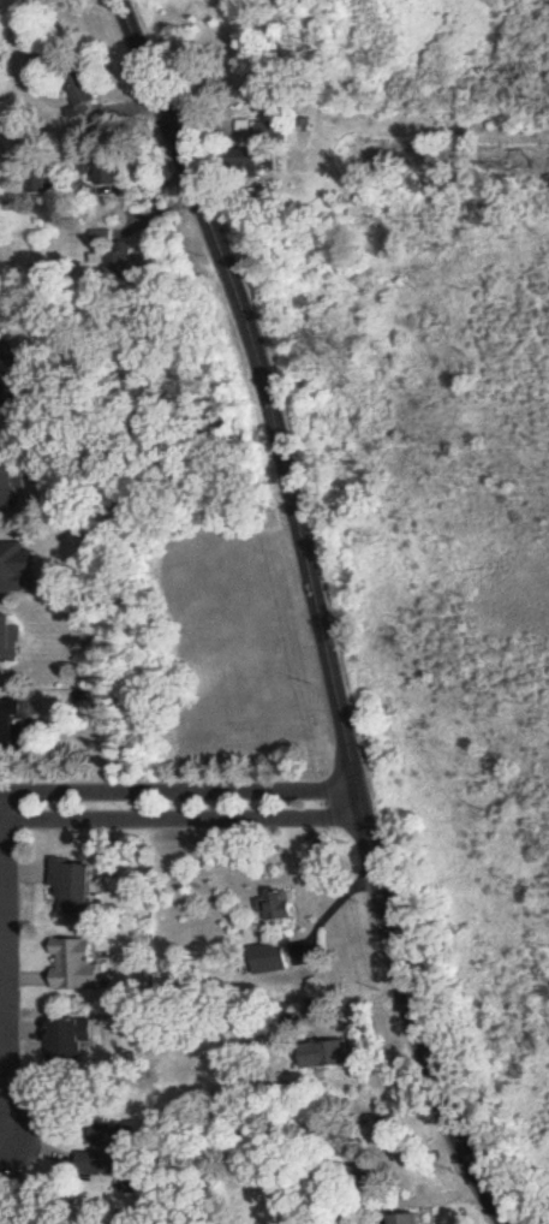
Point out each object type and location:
building: (85, 105)
building: (253, 161)
building: (112, 173)
building: (118, 269)
building: (2, 402)
building: (14, 486)
building: (19, 568)
road: (316, 611)
building: (12, 638)
building: (14, 726)
road: (180, 807)
building: (79, 887)
building: (285, 907)
building: (276, 959)
building: (79, 965)
road: (11, 968)
building: (68, 1044)
building: (341, 1056)
road: (2, 1135)
building: (111, 1155)
building: (416, 1220)
building: (30, 1223)

